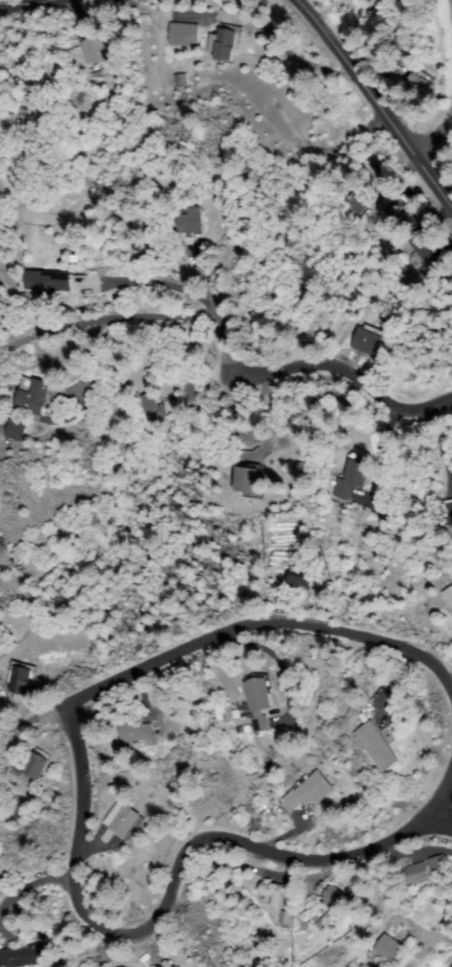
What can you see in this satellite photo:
road: (26, 6)
road: (450, 11)
building: (184, 34)
building: (225, 42)
building: (95, 48)
building: (420, 82)
road: (368, 109)
road: (448, 160)
building: (352, 203)
building: (191, 221)
building: (430, 252)
building: (48, 282)
building: (370, 339)
road: (350, 382)
building: (33, 396)
building: (153, 407)
building: (17, 429)
building: (354, 476)
building: (250, 480)
building: (448, 514)
building: (301, 578)
road: (272, 633)
building: (22, 678)
building: (259, 694)
road: (36, 727)
building: (259, 727)
building: (135, 729)
building: (377, 747)
building: (36, 765)
building: (311, 791)
road: (442, 804)
building: (126, 818)
building: (417, 874)
building: (273, 891)
road: (167, 897)
building: (336, 898)
building: (392, 949)
building: (24, 956)
road: (446, 959)
building: (165, 966)

